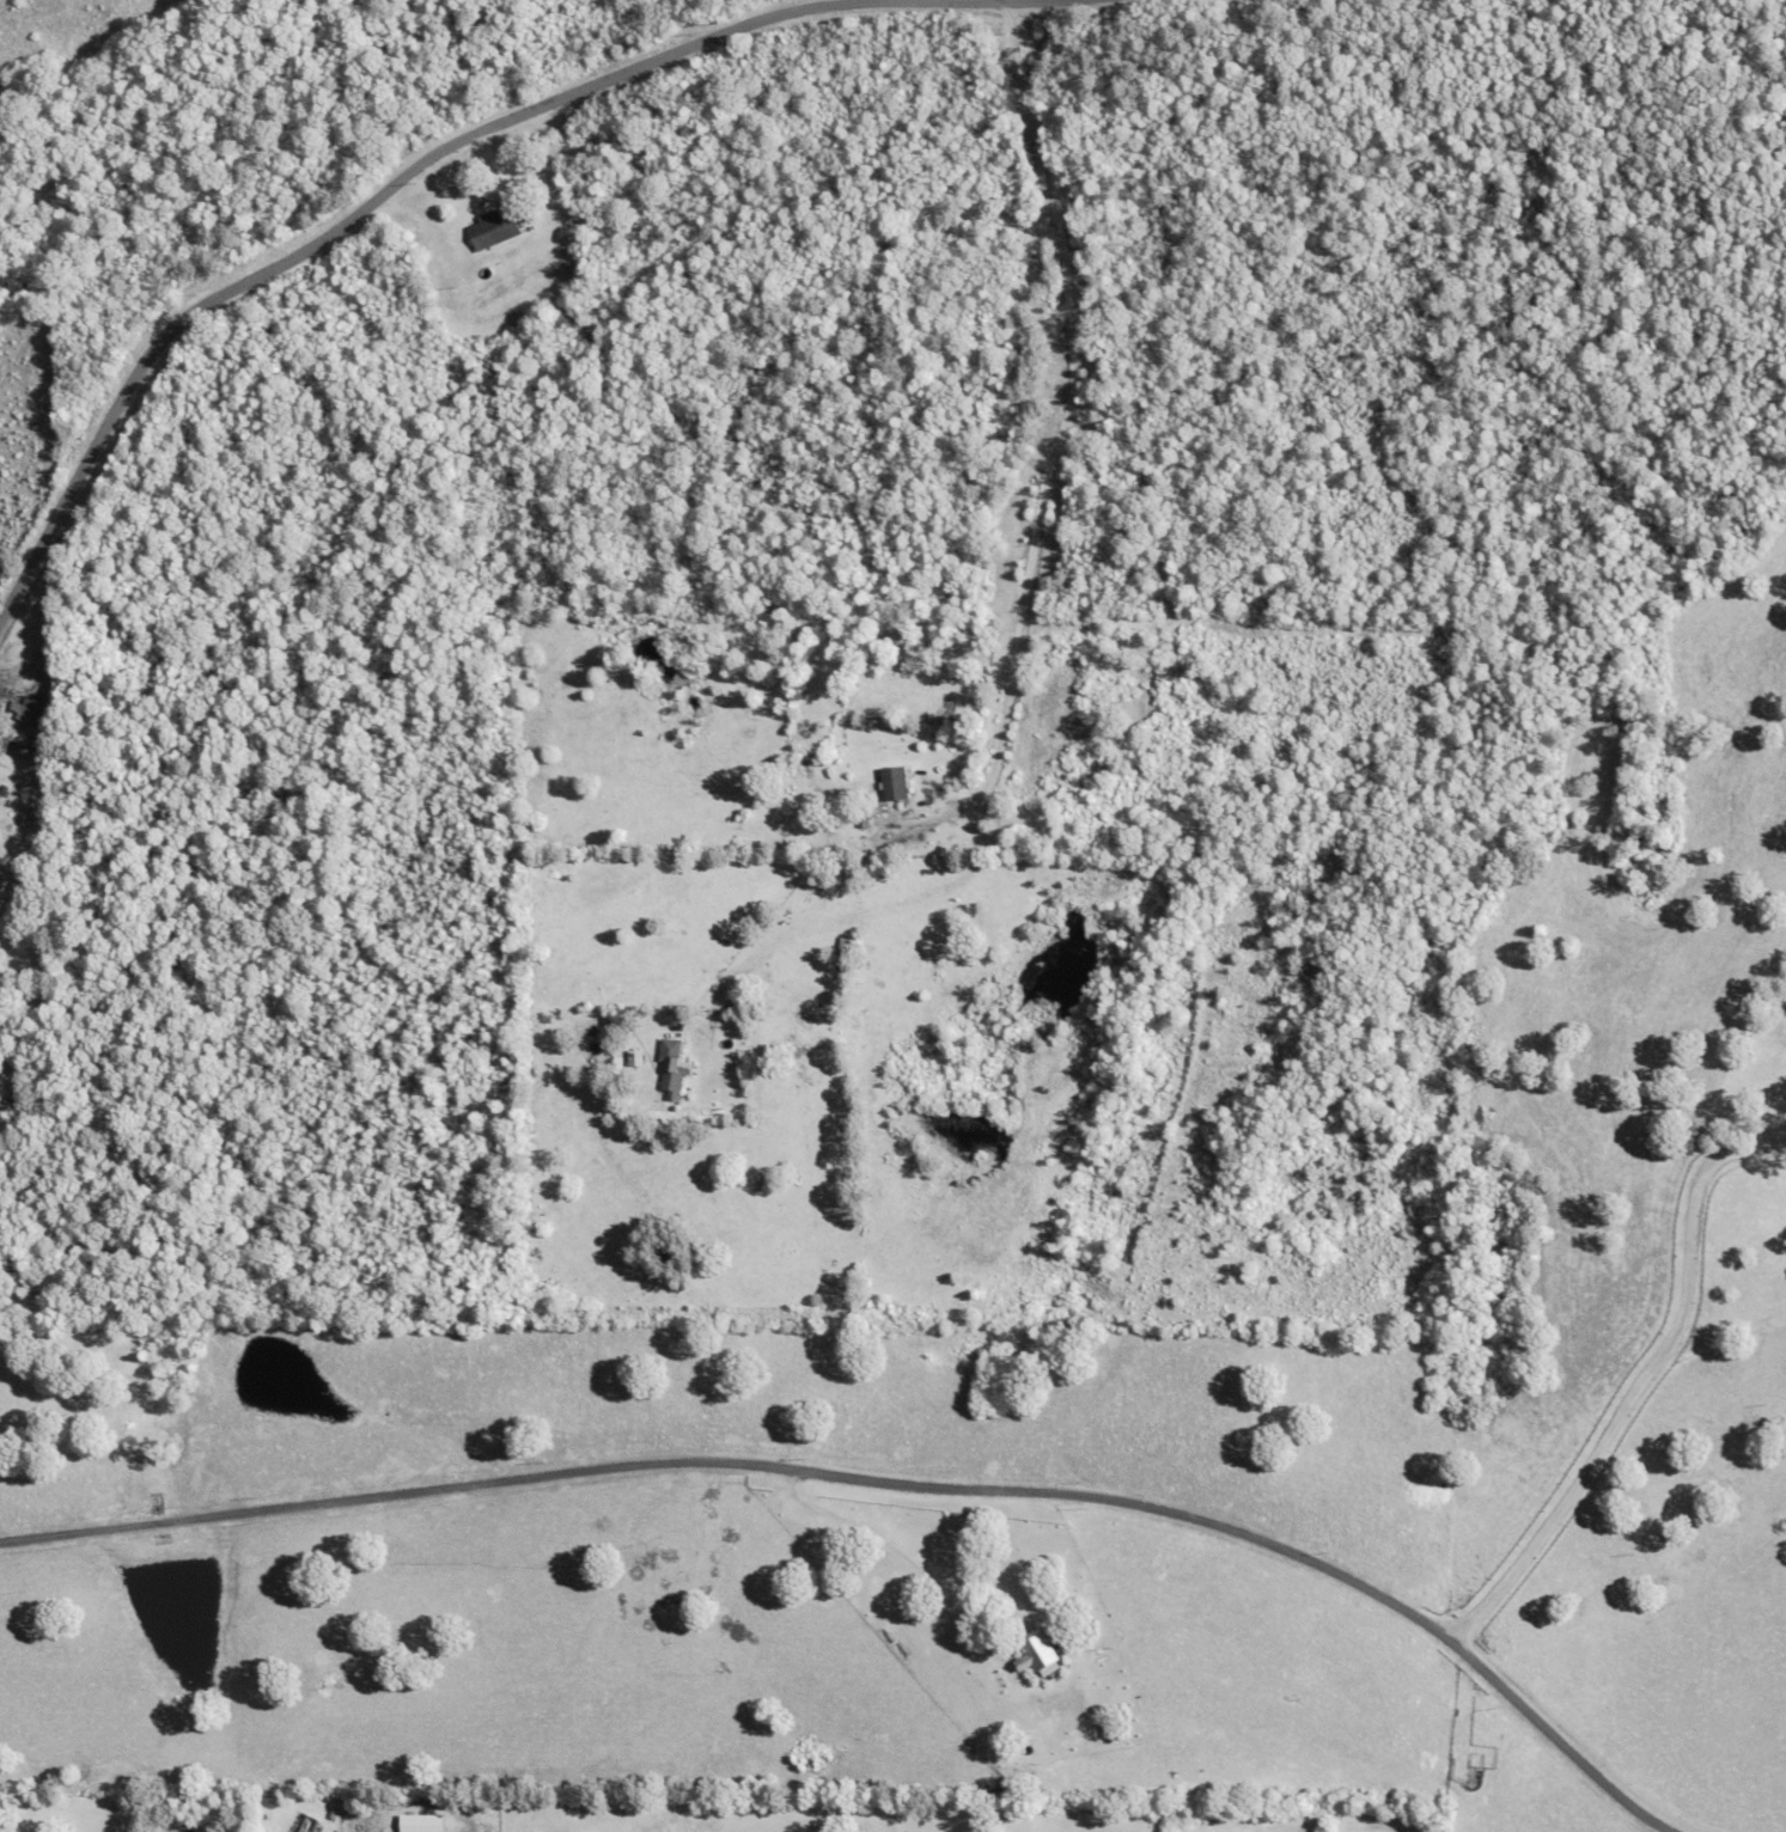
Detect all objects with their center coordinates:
road: (441, 148)
building: (489, 227)
building: (24, 709)
building: (892, 782)
building: (669, 1067)
road: (885, 1483)
building: (1037, 1653)
building: (1010, 1672)

